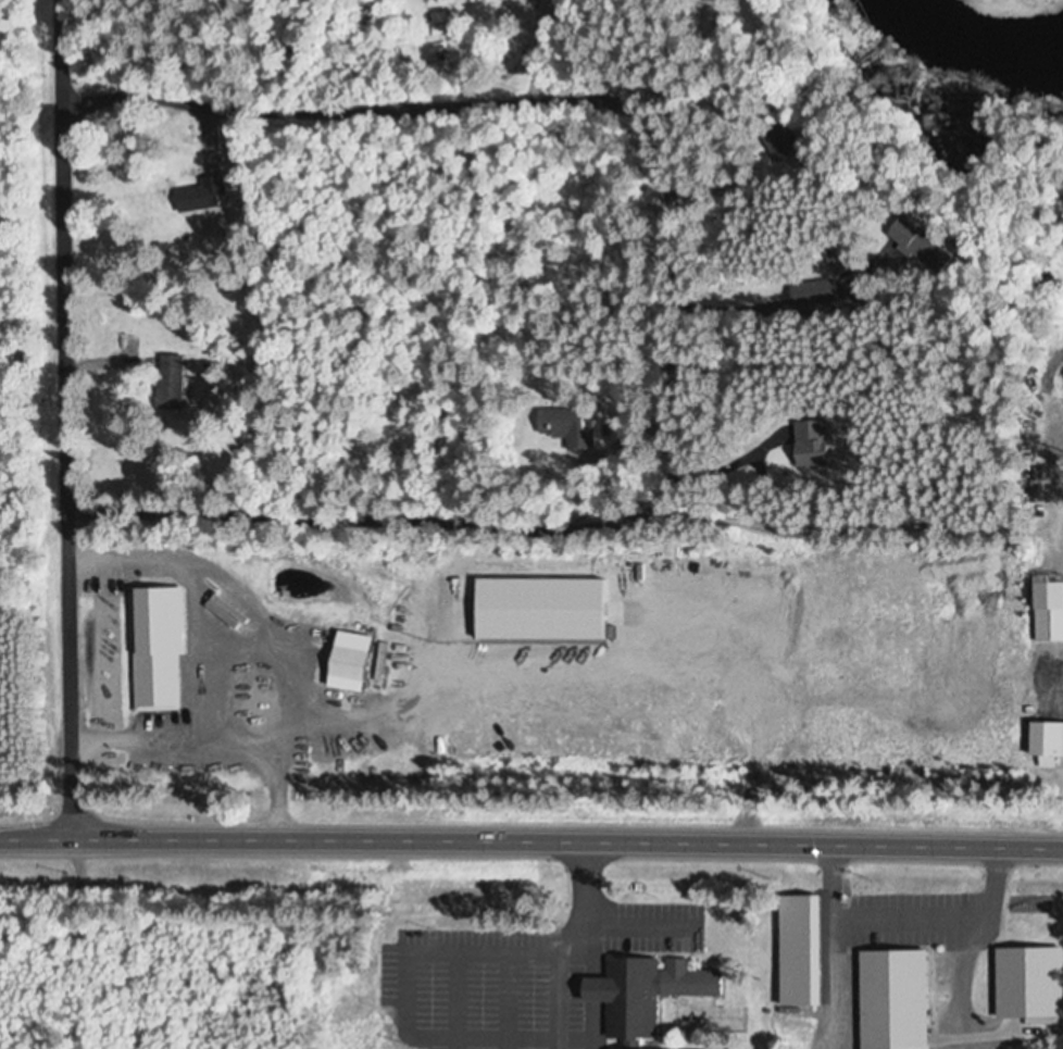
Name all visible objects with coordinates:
road: (686, 99)
road: (358, 109)
building: (783, 140)
building: (199, 196)
road: (713, 294)
building: (816, 294)
building: (174, 382)
road: (67, 414)
building: (567, 426)
building: (822, 442)
road: (397, 514)
road: (874, 516)
building: (1047, 612)
building: (354, 664)
building: (1043, 741)
road: (531, 834)
building: (653, 996)
building: (904, 1000)

